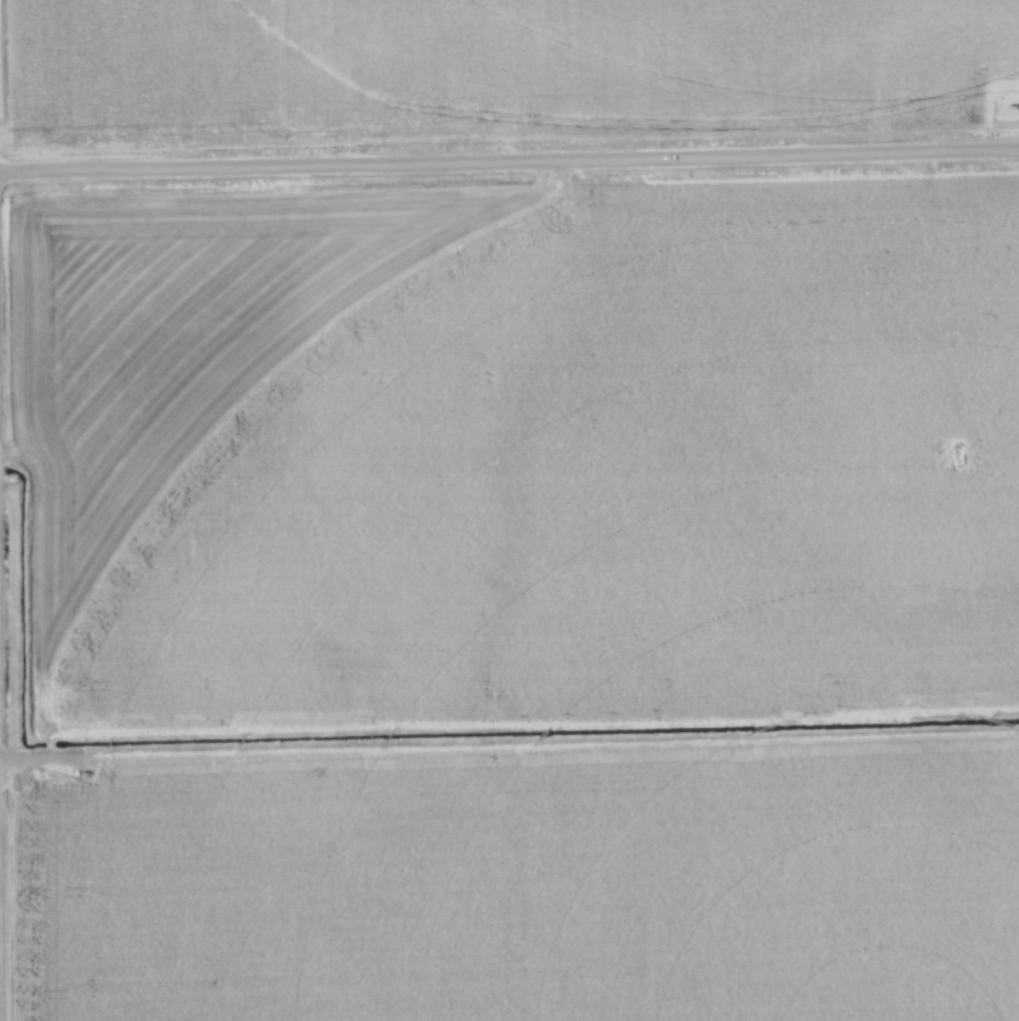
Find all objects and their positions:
crop: (492, 60)
road: (509, 163)
crop: (519, 452)
crop: (524, 887)

